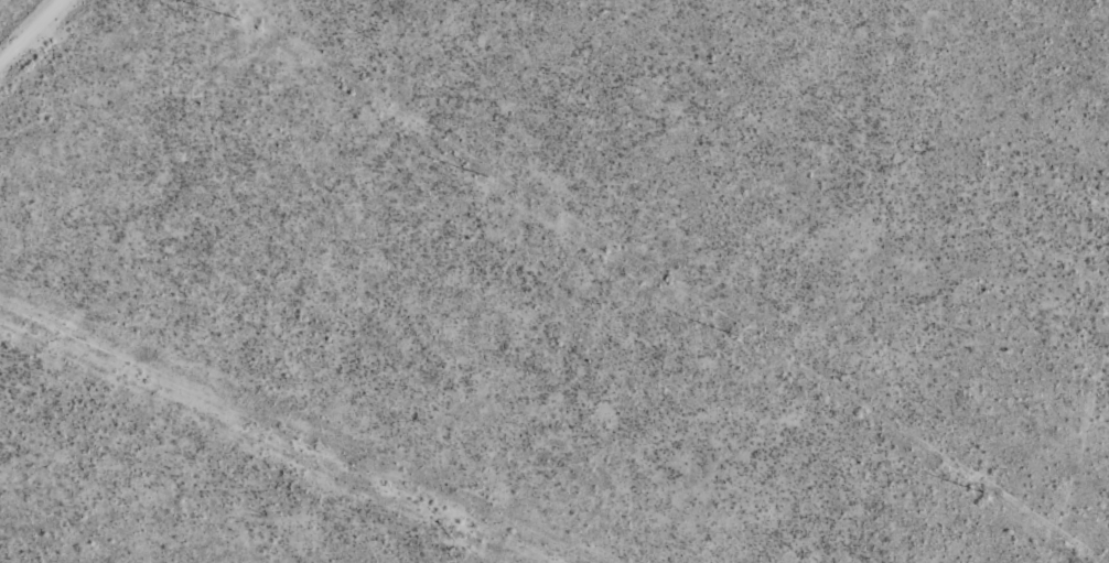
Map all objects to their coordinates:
power tower: (238, 21)
power tower: (486, 177)
power tower: (736, 336)
power tower: (986, 494)

